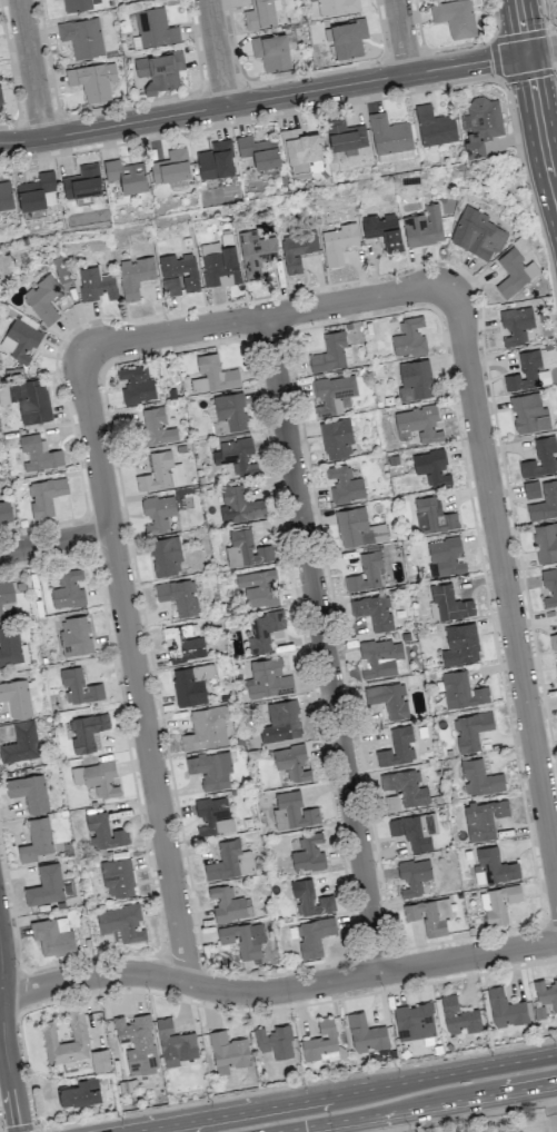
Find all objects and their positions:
building: (80, 4)
building: (337, 7)
building: (259, 14)
building: (455, 18)
road: (520, 26)
building: (153, 28)
building: (82, 37)
road: (401, 37)
building: (346, 38)
road: (555, 47)
building: (271, 51)
road: (215, 52)
traffic signals: (526, 52)
road: (30, 69)
building: (159, 70)
building: (92, 80)
road: (277, 96)
building: (0, 101)
building: (480, 125)
building: (434, 126)
road: (539, 127)
building: (345, 136)
building: (389, 138)
building: (299, 146)
building: (258, 151)
building: (215, 160)
building: (170, 166)
building: (126, 175)
building: (82, 183)
building: (37, 193)
building: (6, 196)
building: (424, 227)
building: (382, 230)
building: (477, 234)
building: (338, 242)
building: (296, 250)
building: (255, 252)
building: (219, 265)
building: (178, 272)
building: (514, 272)
building: (135, 276)
building: (96, 285)
building: (42, 299)
road: (267, 315)
building: (515, 325)
building: (408, 337)
building: (19, 340)
building: (331, 351)
building: (526, 373)
building: (212, 375)
building: (415, 380)
building: (135, 384)
building: (334, 394)
building: (32, 400)
building: (230, 410)
building: (528, 414)
building: (417, 424)
building: (156, 427)
building: (336, 438)
building: (38, 454)
building: (236, 455)
building: (540, 458)
building: (431, 467)
building: (160, 473)
building: (344, 484)
building: (44, 496)
building: (549, 499)
building: (239, 506)
building: (4, 512)
building: (158, 513)
building: (432, 516)
building: (357, 527)
road: (54, 542)
building: (545, 542)
building: (246, 550)
building: (166, 556)
building: (445, 558)
building: (366, 573)
building: (549, 586)
road: (505, 587)
building: (258, 588)
building: (68, 589)
building: (6, 594)
building: (178, 596)
building: (449, 603)
building: (374, 612)
building: (263, 630)
building: (74, 635)
building: (553, 641)
building: (183, 642)
road: (321, 644)
building: (460, 644)
building: (9, 645)
building: (379, 657)
building: (556, 659)
road: (132, 667)
building: (268, 679)
building: (190, 684)
building: (78, 686)
building: (461, 691)
building: (16, 697)
building: (388, 698)
building: (284, 719)
building: (206, 728)
building: (470, 729)
building: (86, 732)
building: (20, 743)
building: (397, 747)
building: (291, 762)
building: (210, 769)
building: (96, 778)
building: (479, 778)
building: (406, 786)
building: (29, 792)
building: (391, 803)
building: (292, 811)
building: (213, 816)
building: (484, 818)
building: (415, 831)
building: (103, 832)
building: (37, 841)
building: (308, 853)
building: (229, 861)
building: (493, 866)
building: (414, 876)
building: (117, 877)
building: (46, 885)
building: (309, 898)
building: (227, 903)
building: (498, 903)
building: (429, 914)
building: (122, 923)
building: (52, 935)
building: (314, 936)
building: (243, 939)
road: (277, 990)
building: (546, 992)
building: (505, 1009)
building: (458, 1016)
building: (414, 1021)
building: (77, 1031)
building: (366, 1033)
road: (3, 1040)
building: (275, 1041)
building: (321, 1042)
building: (137, 1043)
building: (175, 1043)
building: (228, 1052)
building: (100, 1060)
building: (79, 1092)
road: (338, 1093)
road: (415, 1106)
traffic signals: (19, 1124)
traffic signals: (305, 1126)

